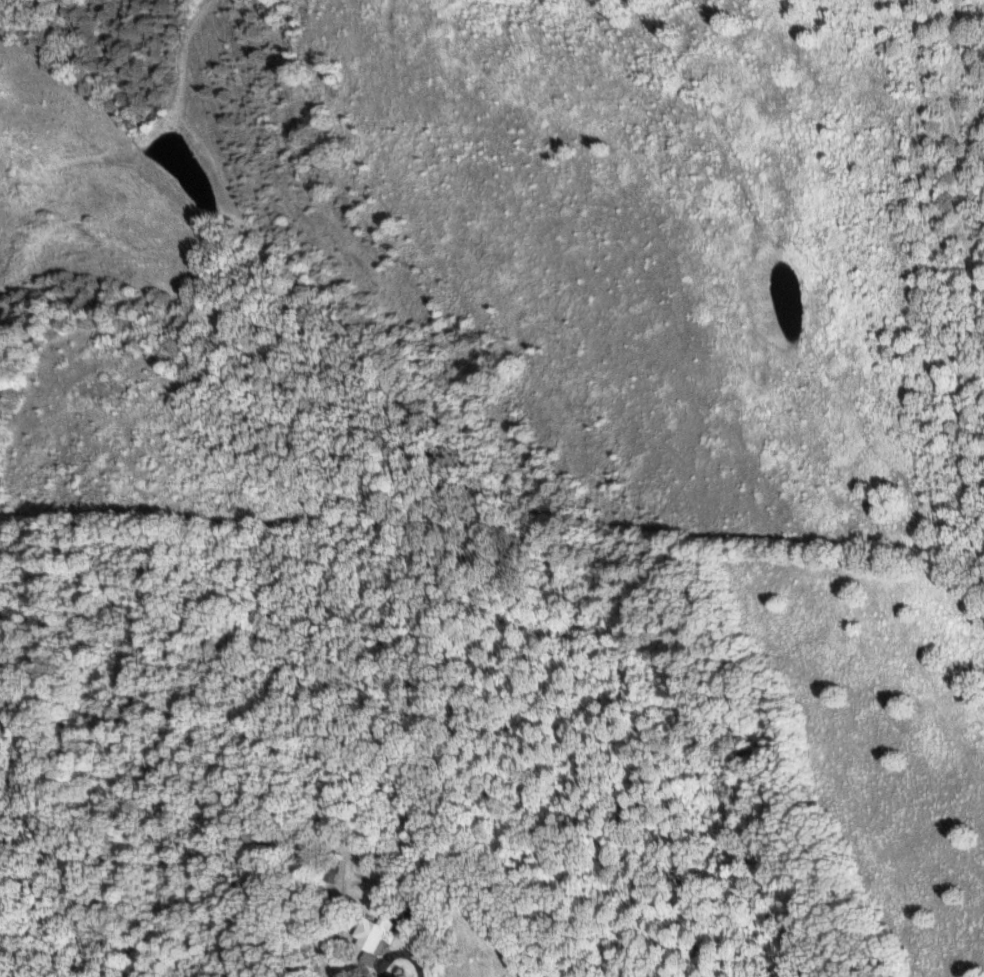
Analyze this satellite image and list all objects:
road: (399, 939)

